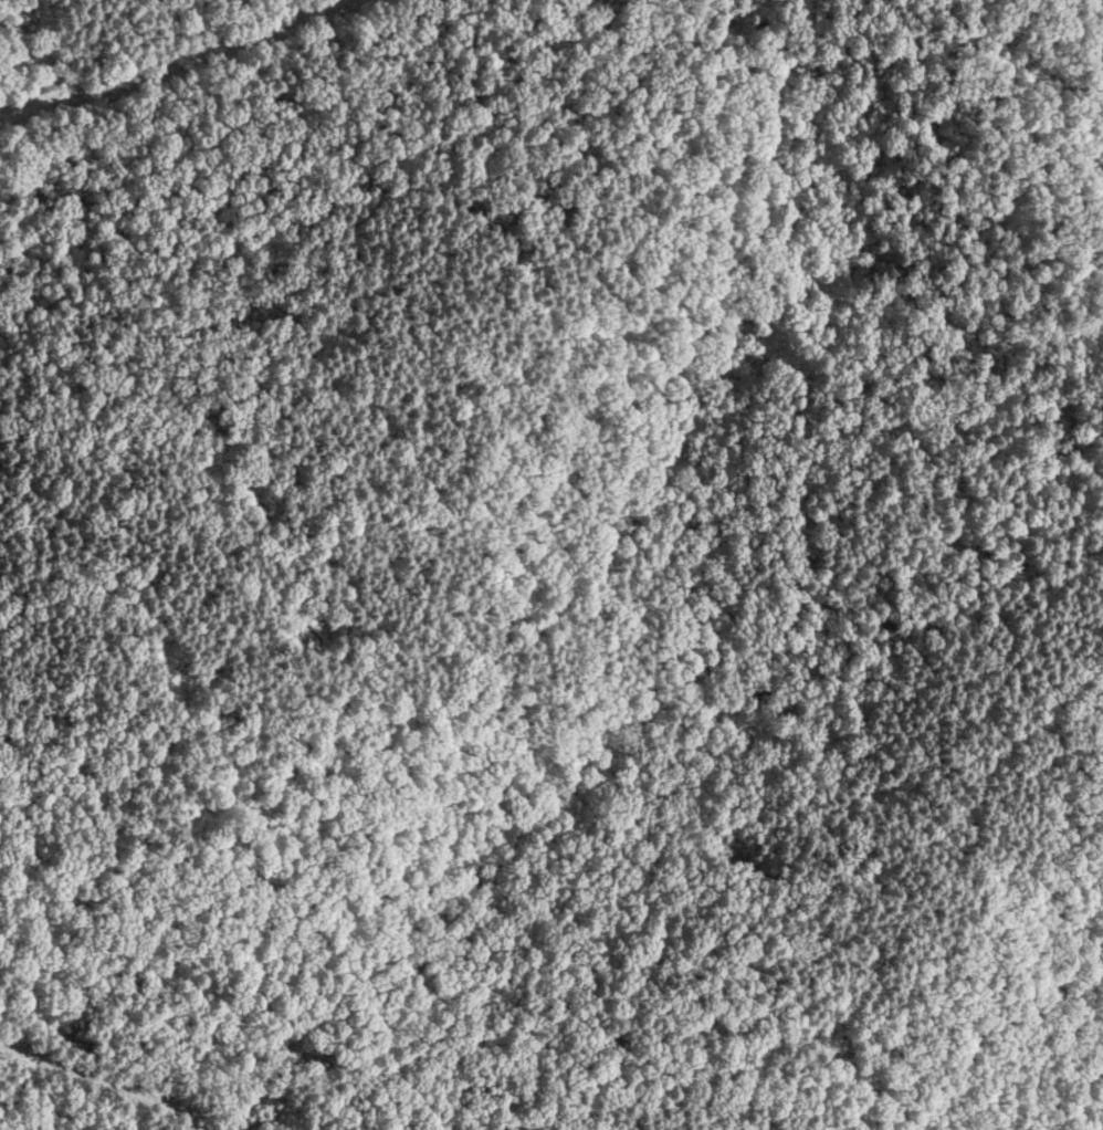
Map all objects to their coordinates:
road: (188, 69)
road: (105, 1086)

